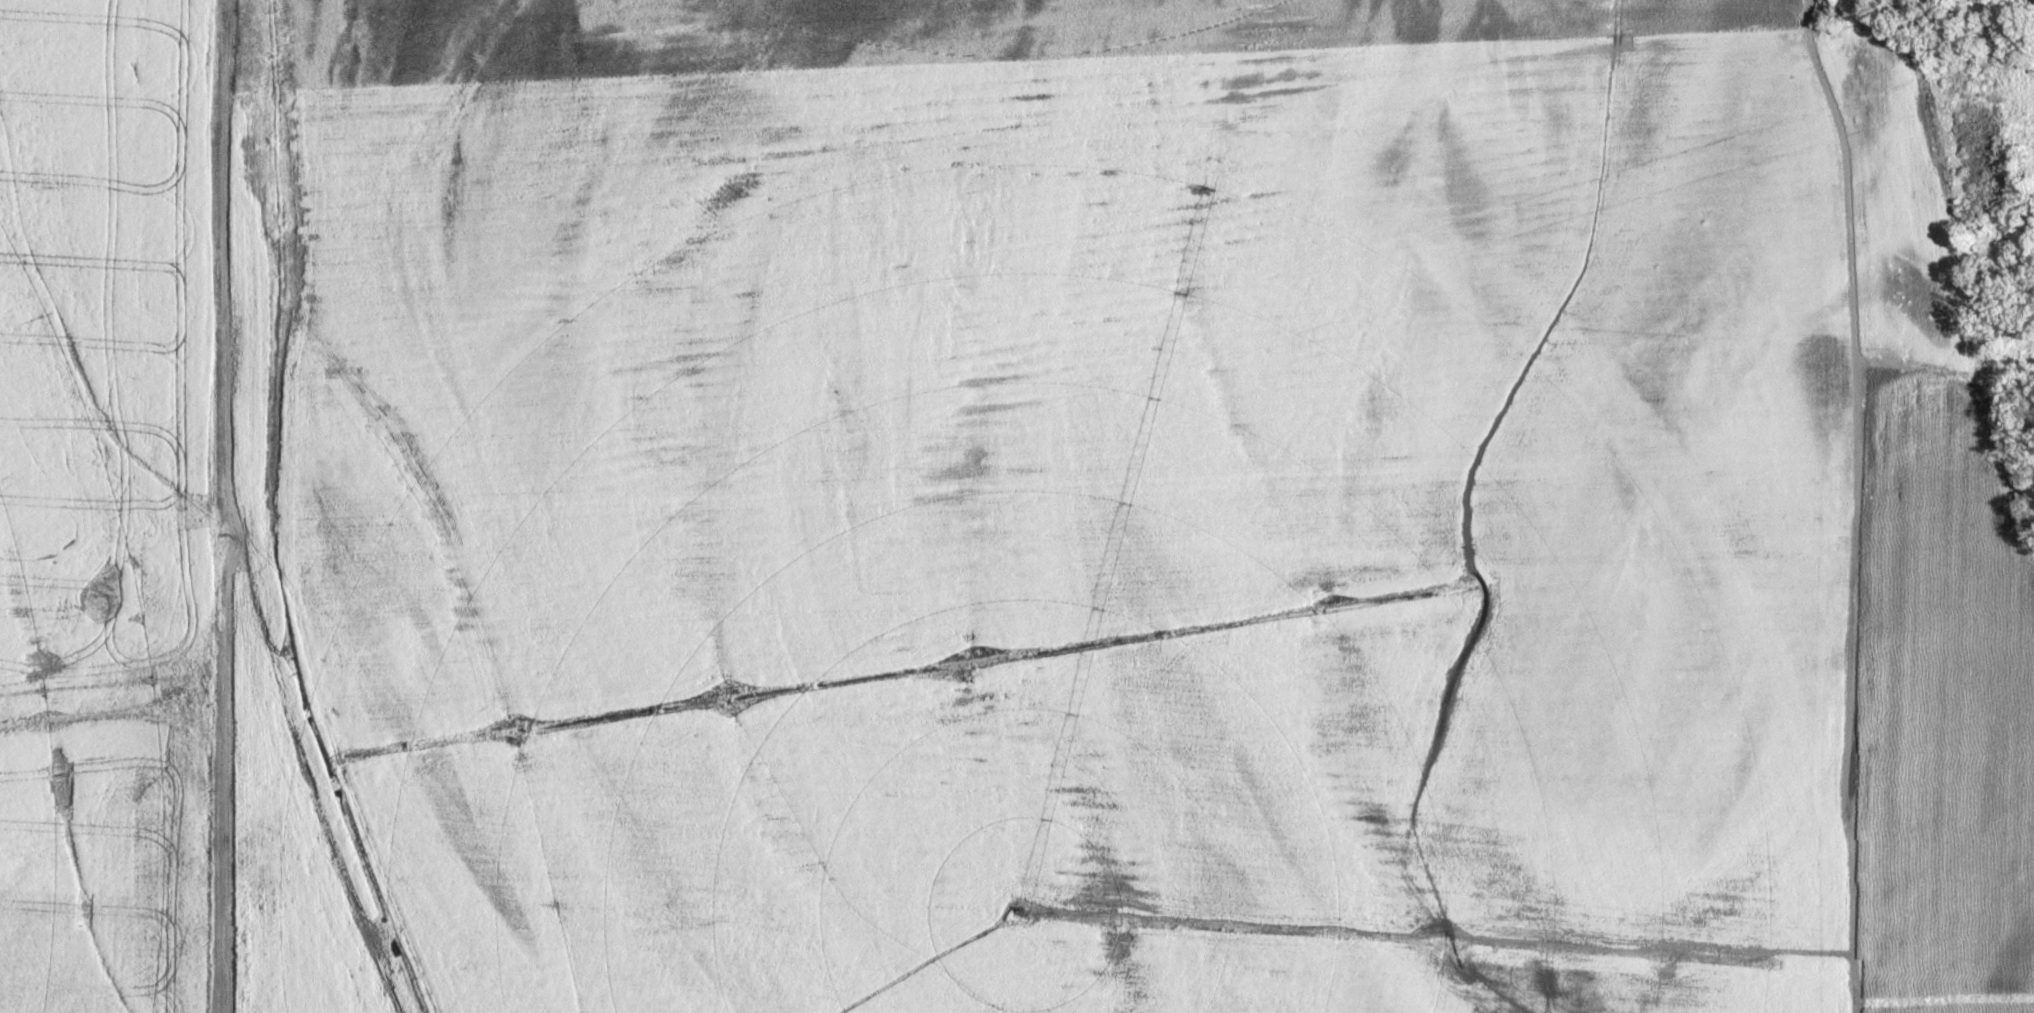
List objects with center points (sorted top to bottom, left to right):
building: (2031, 5)

